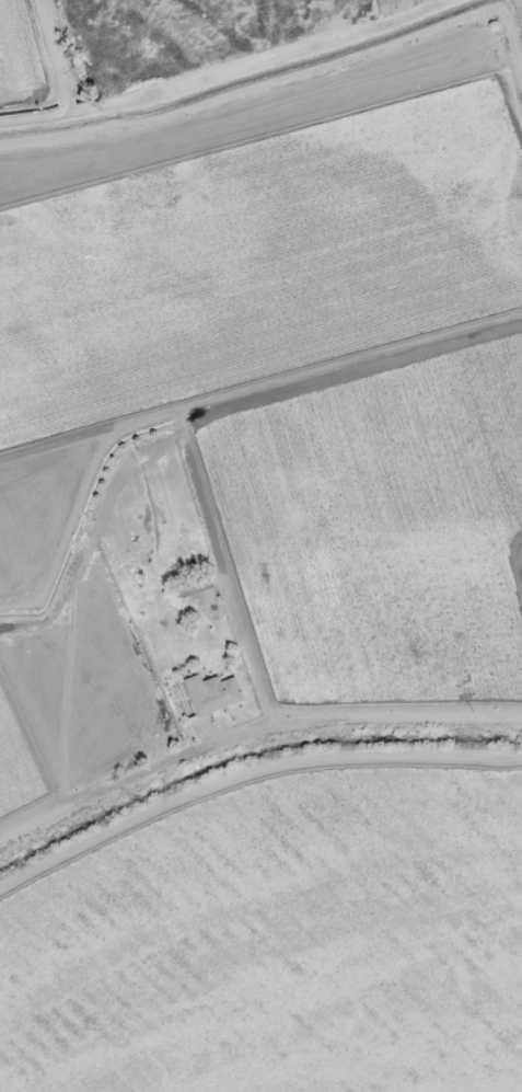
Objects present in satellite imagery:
building: (393, 5)
road: (56, 61)
road: (239, 77)
building: (194, 586)
building: (211, 693)
road: (78, 801)

